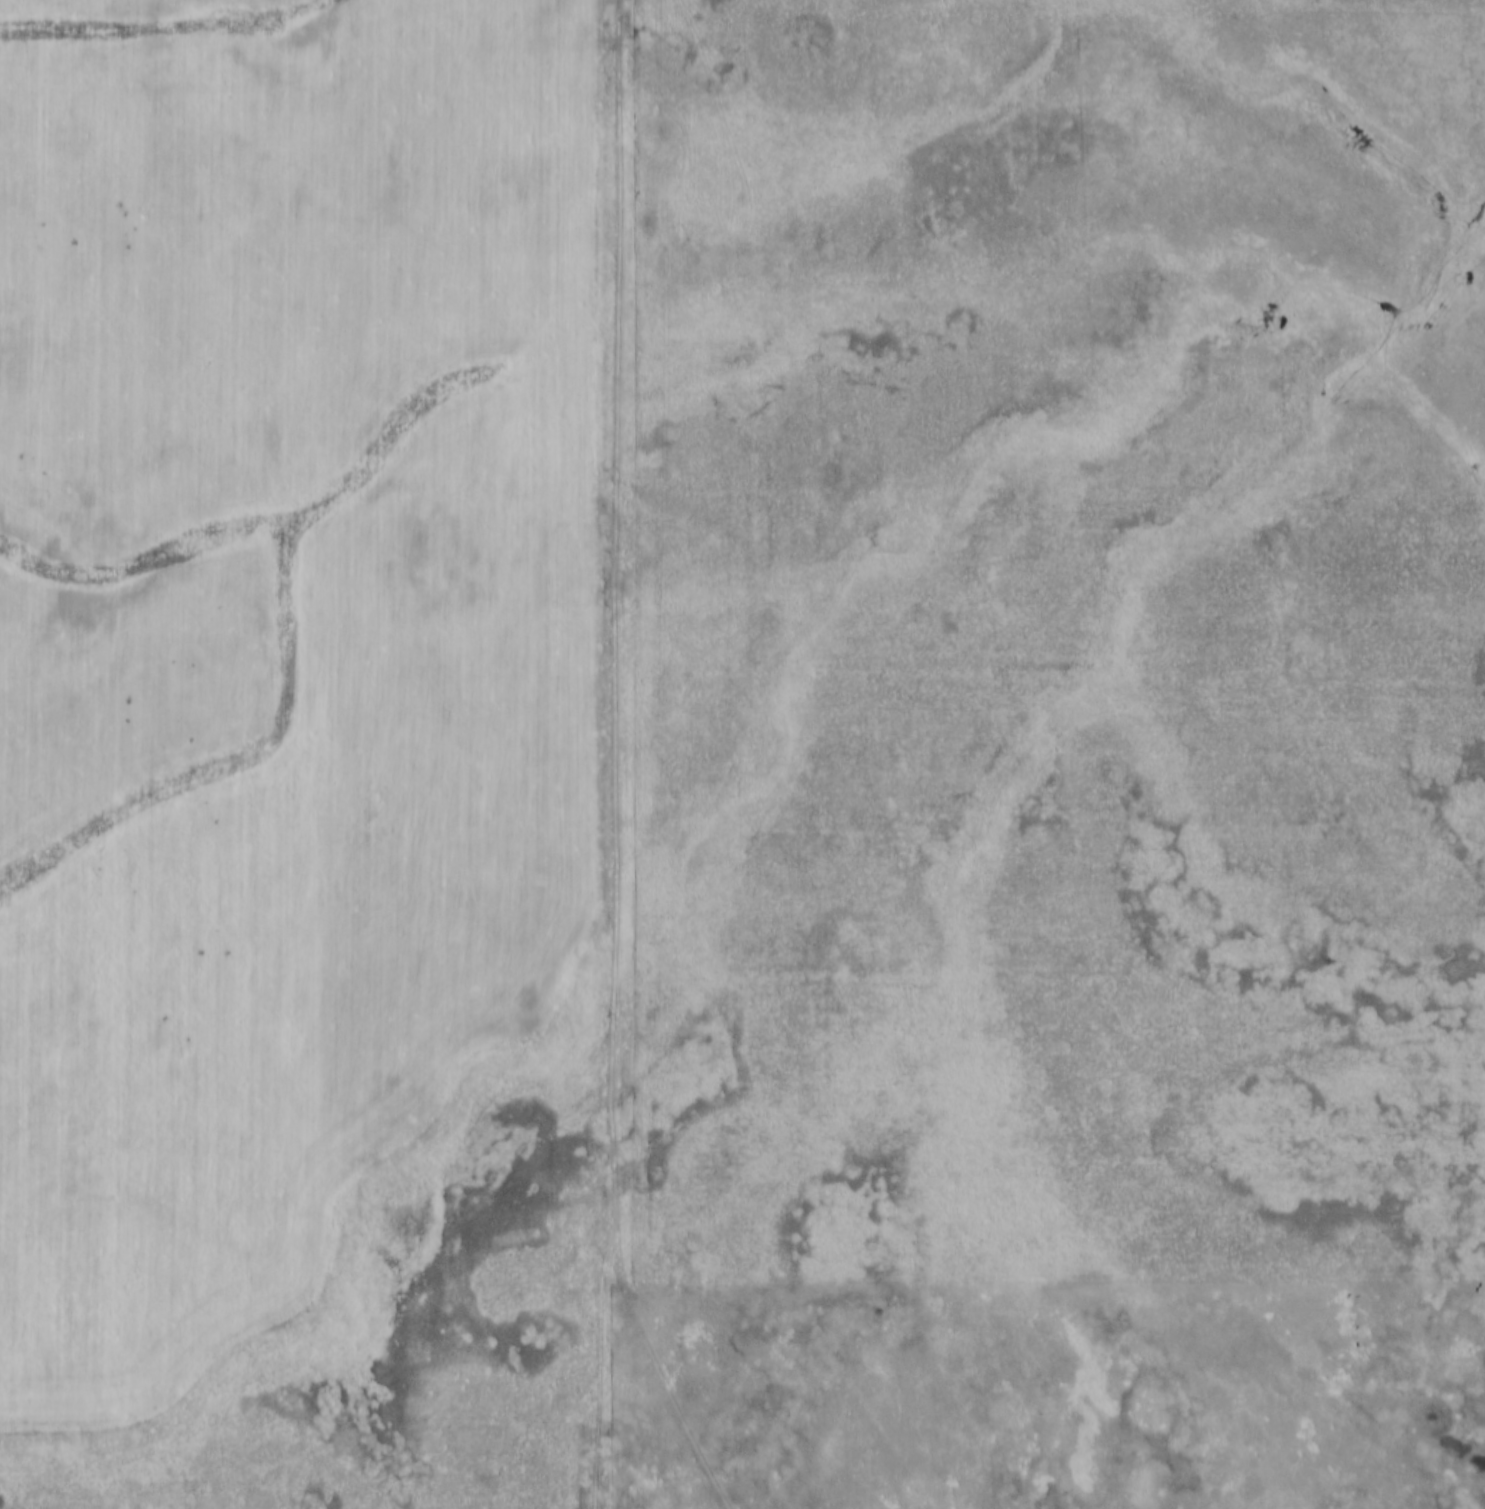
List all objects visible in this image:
road: (628, 754)

